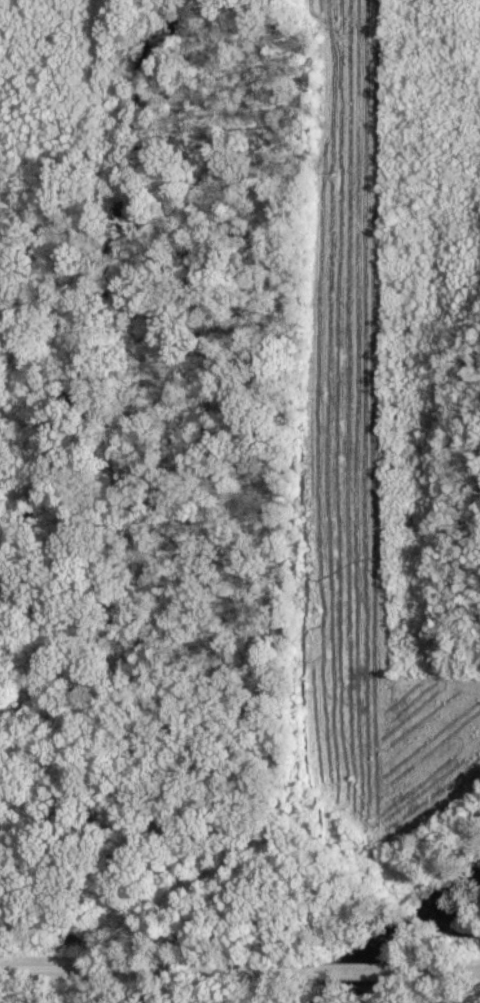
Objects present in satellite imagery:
road: (145, 967)
road: (363, 969)
road: (458, 971)

